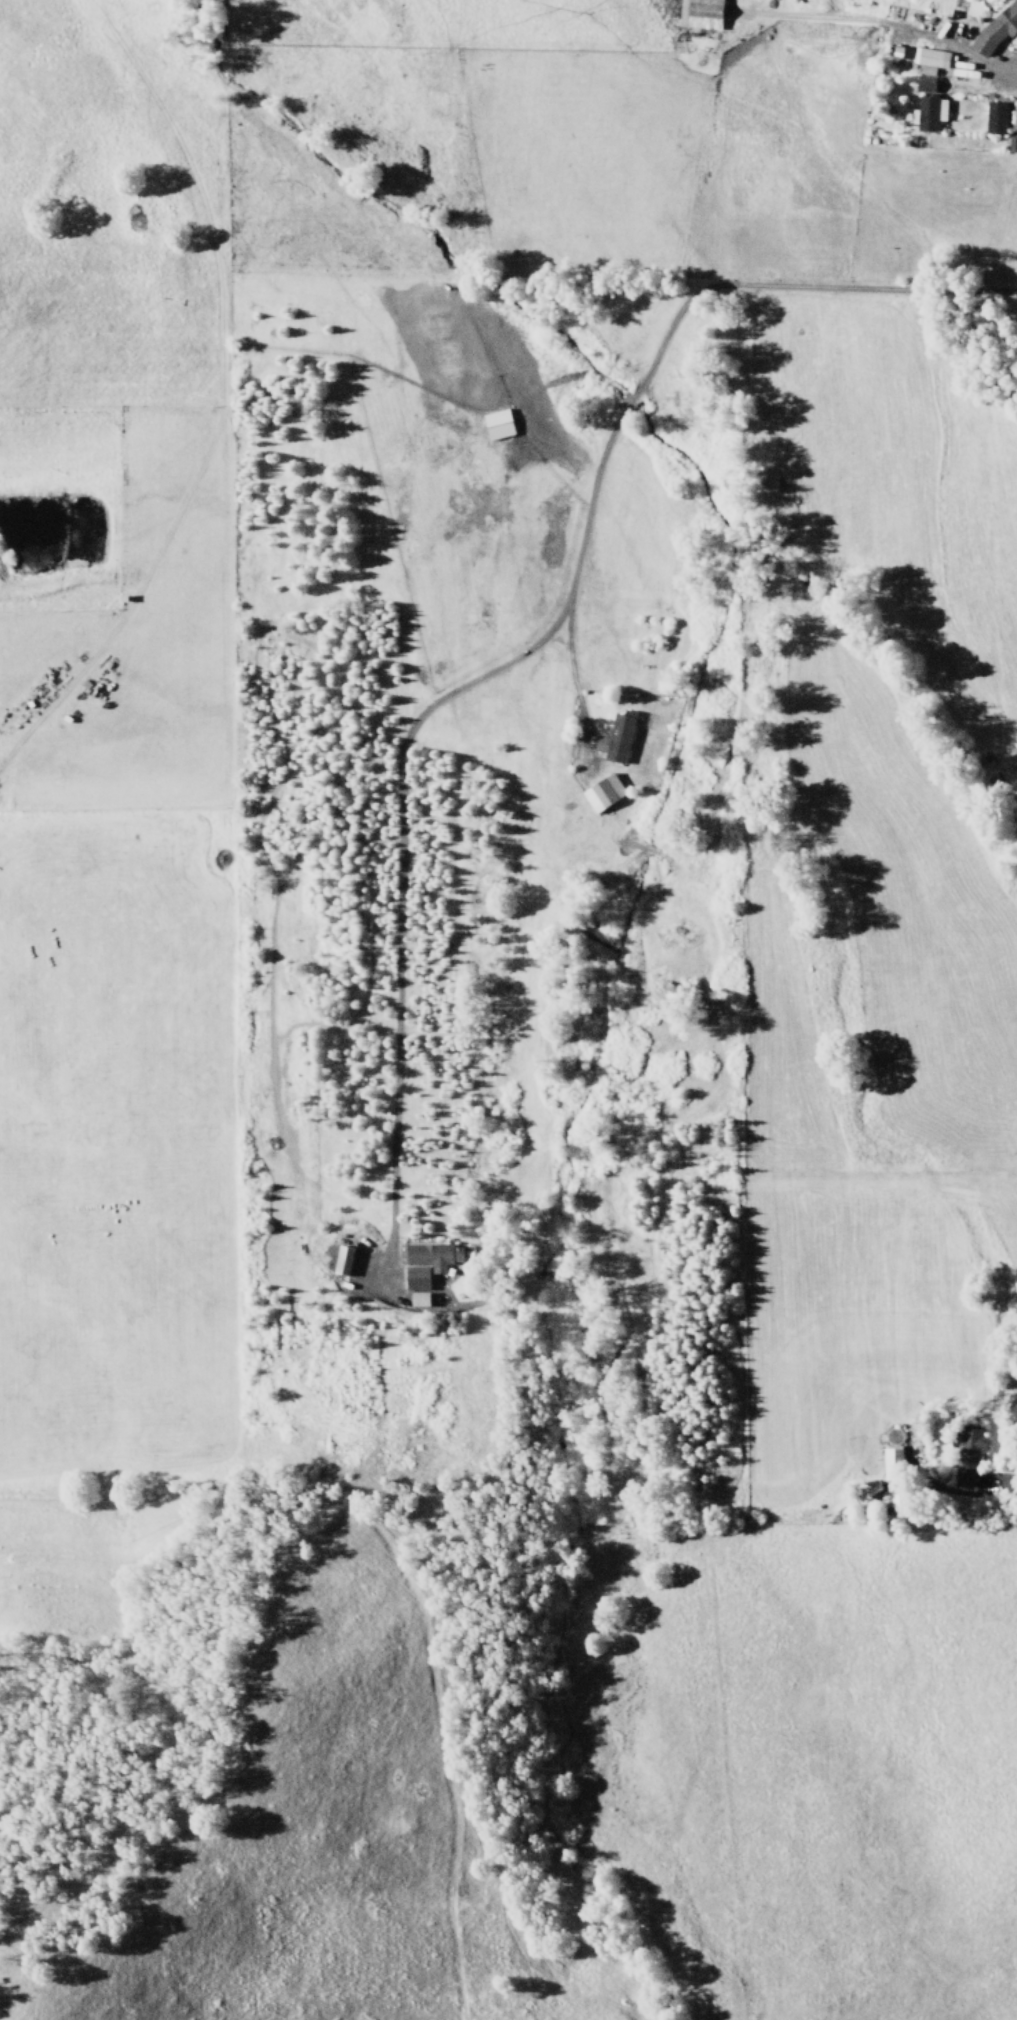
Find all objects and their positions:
building: (699, 14)
building: (996, 30)
building: (900, 52)
building: (928, 89)
building: (995, 118)
building: (1011, 144)
building: (614, 739)
building: (602, 792)
building: (428, 1262)
building: (418, 1299)
building: (892, 1464)
building: (895, 1497)

